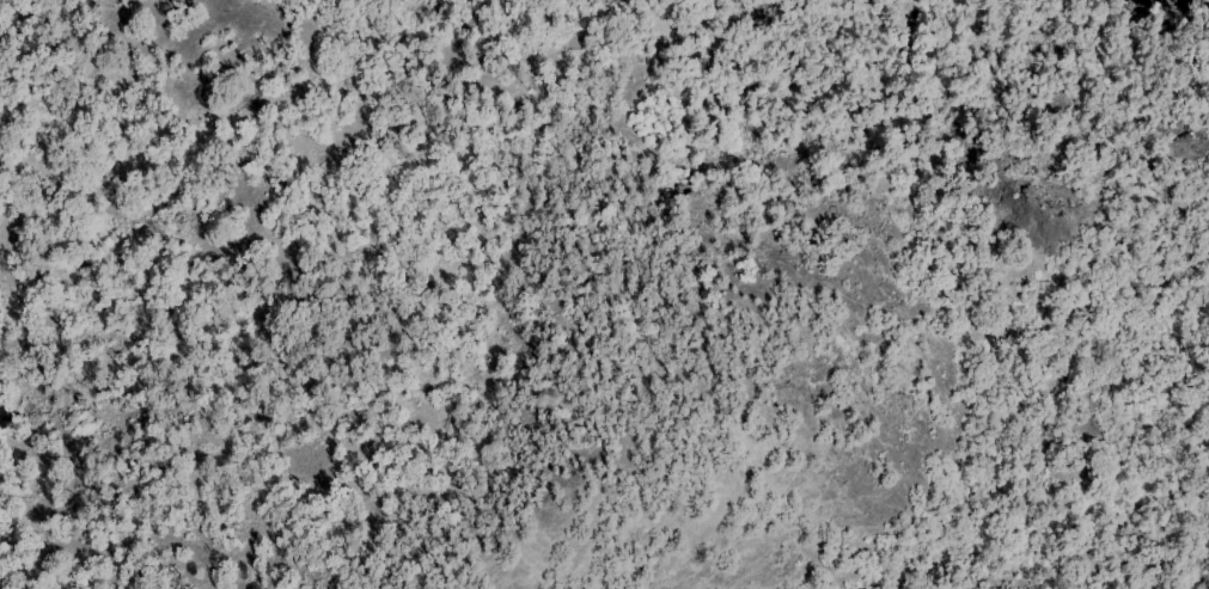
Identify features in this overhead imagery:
river: (1170, 11)

